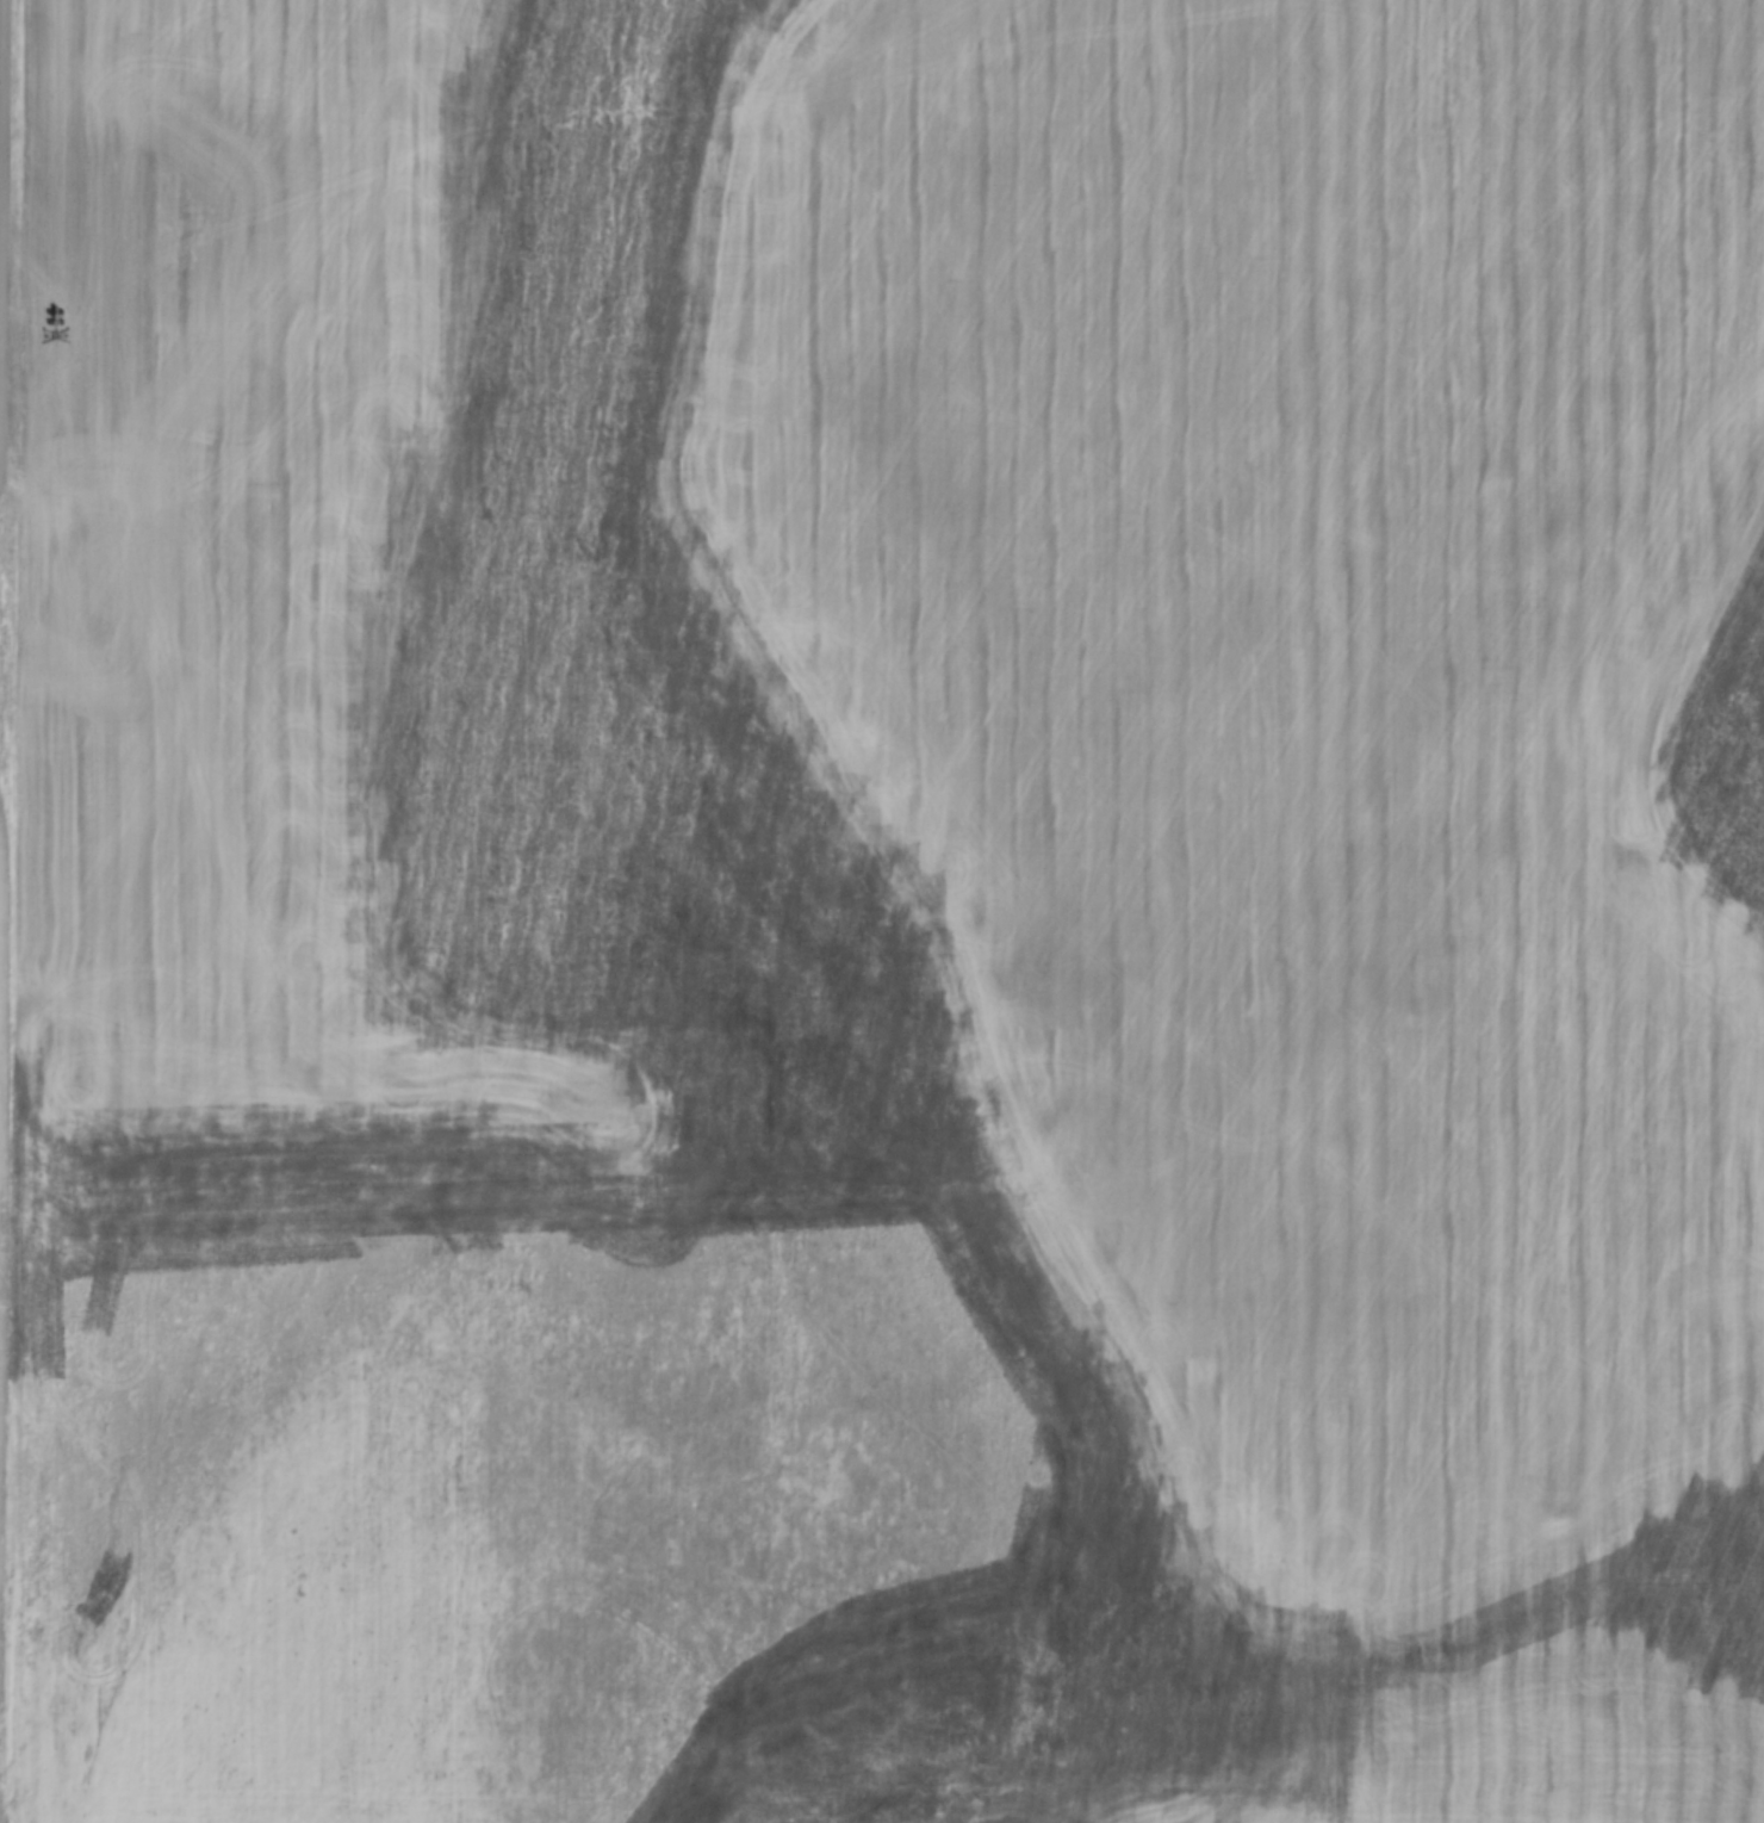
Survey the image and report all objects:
road: (1, 107)
road: (0, 382)
road: (0, 1675)

